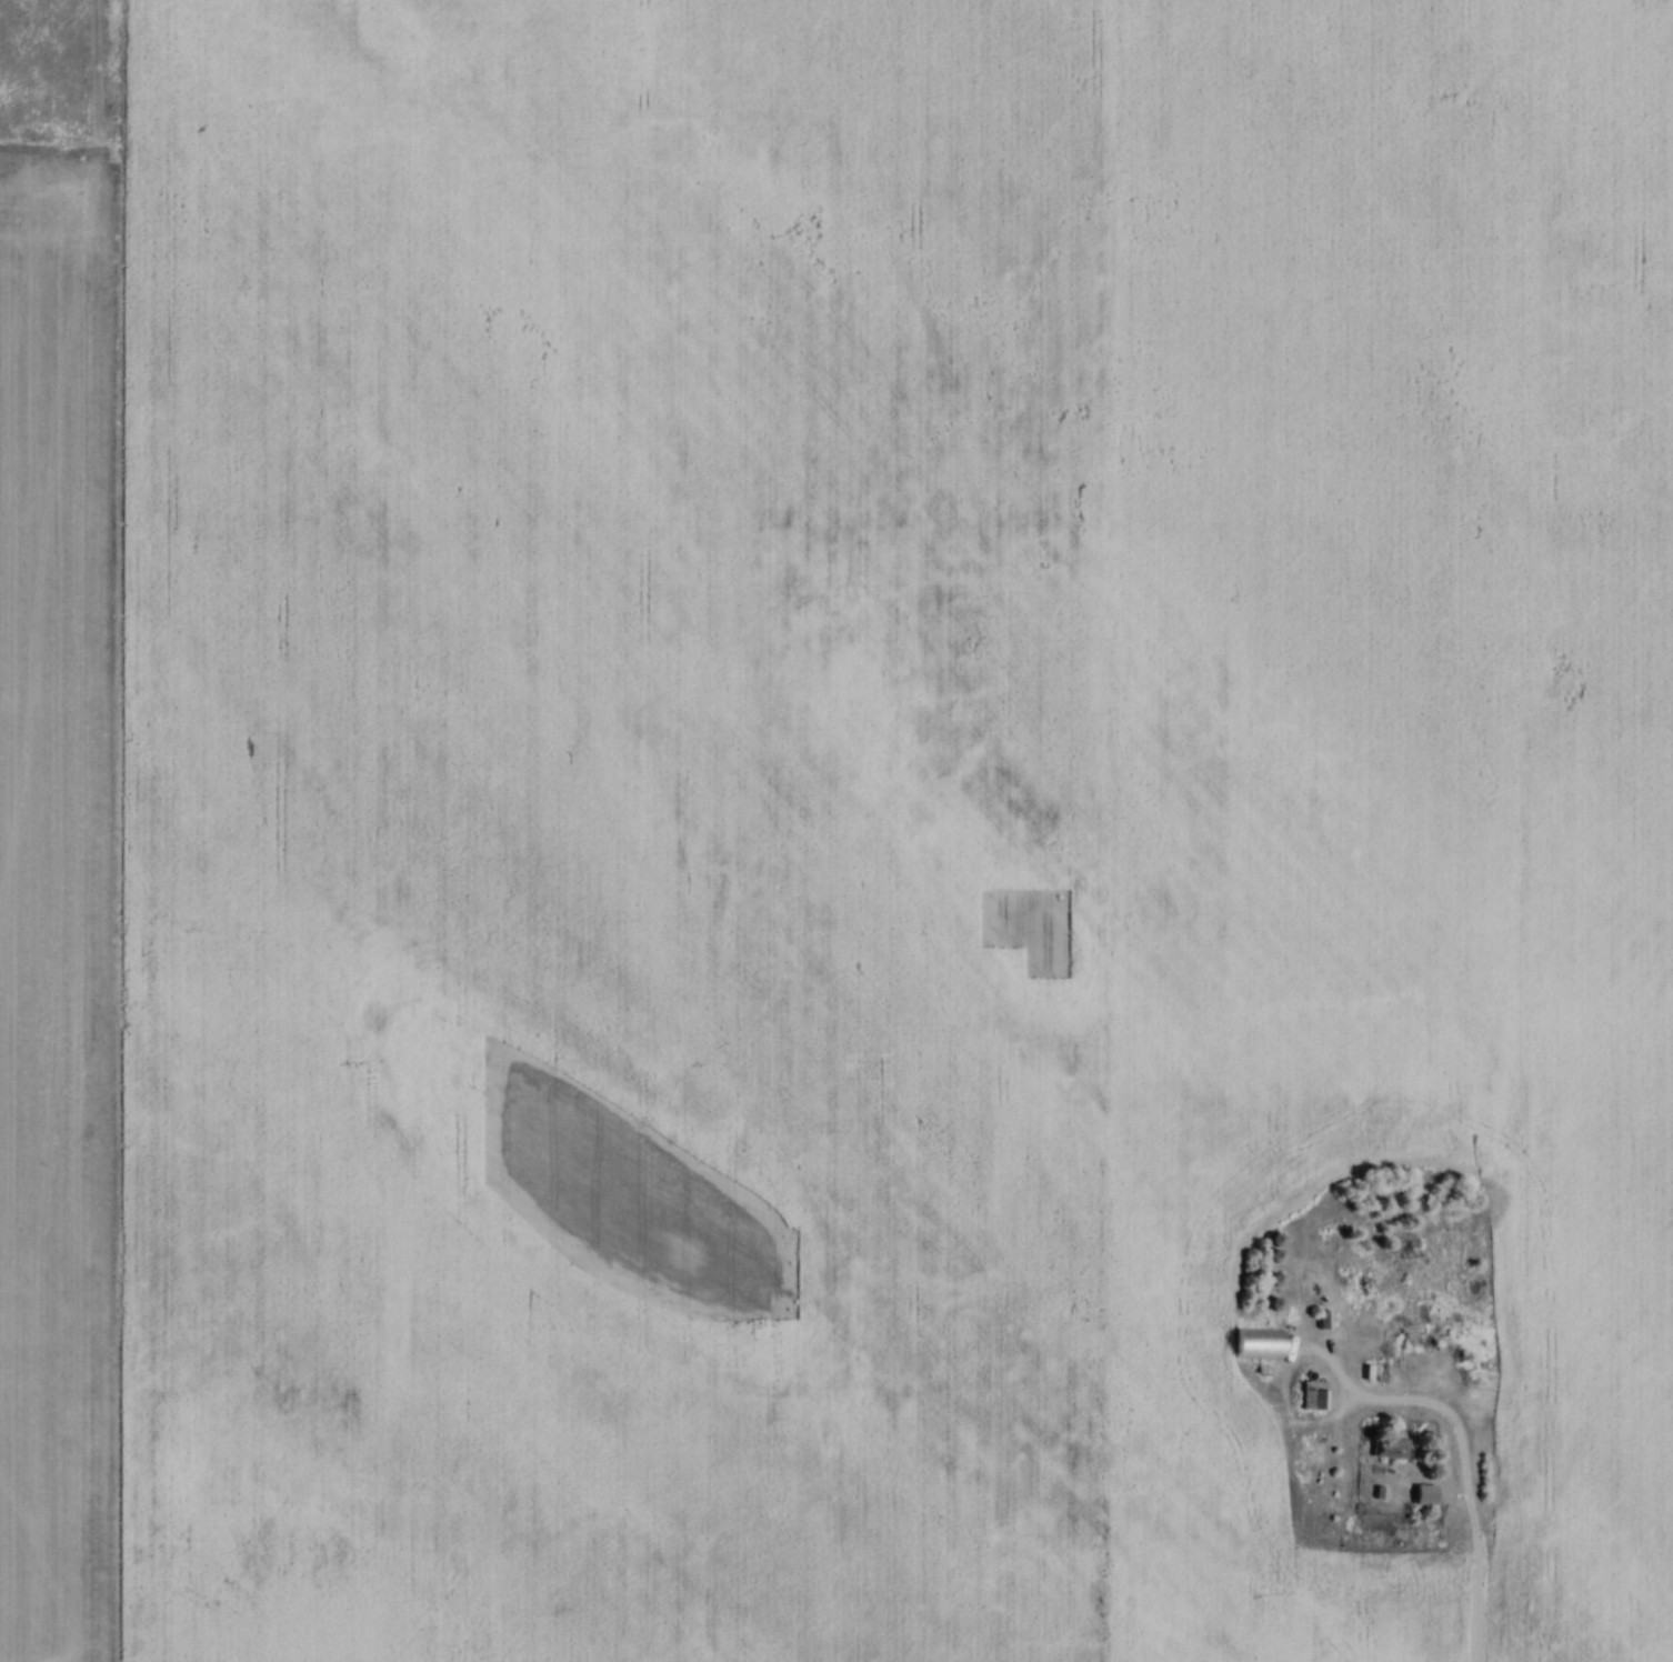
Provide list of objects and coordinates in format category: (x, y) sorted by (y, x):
building: (1413, 1330)
building: (1255, 1344)
road: (1292, 1352)
building: (1373, 1371)
building: (1311, 1395)
building: (1388, 1448)
road: (1464, 1489)
building: (1422, 1495)

